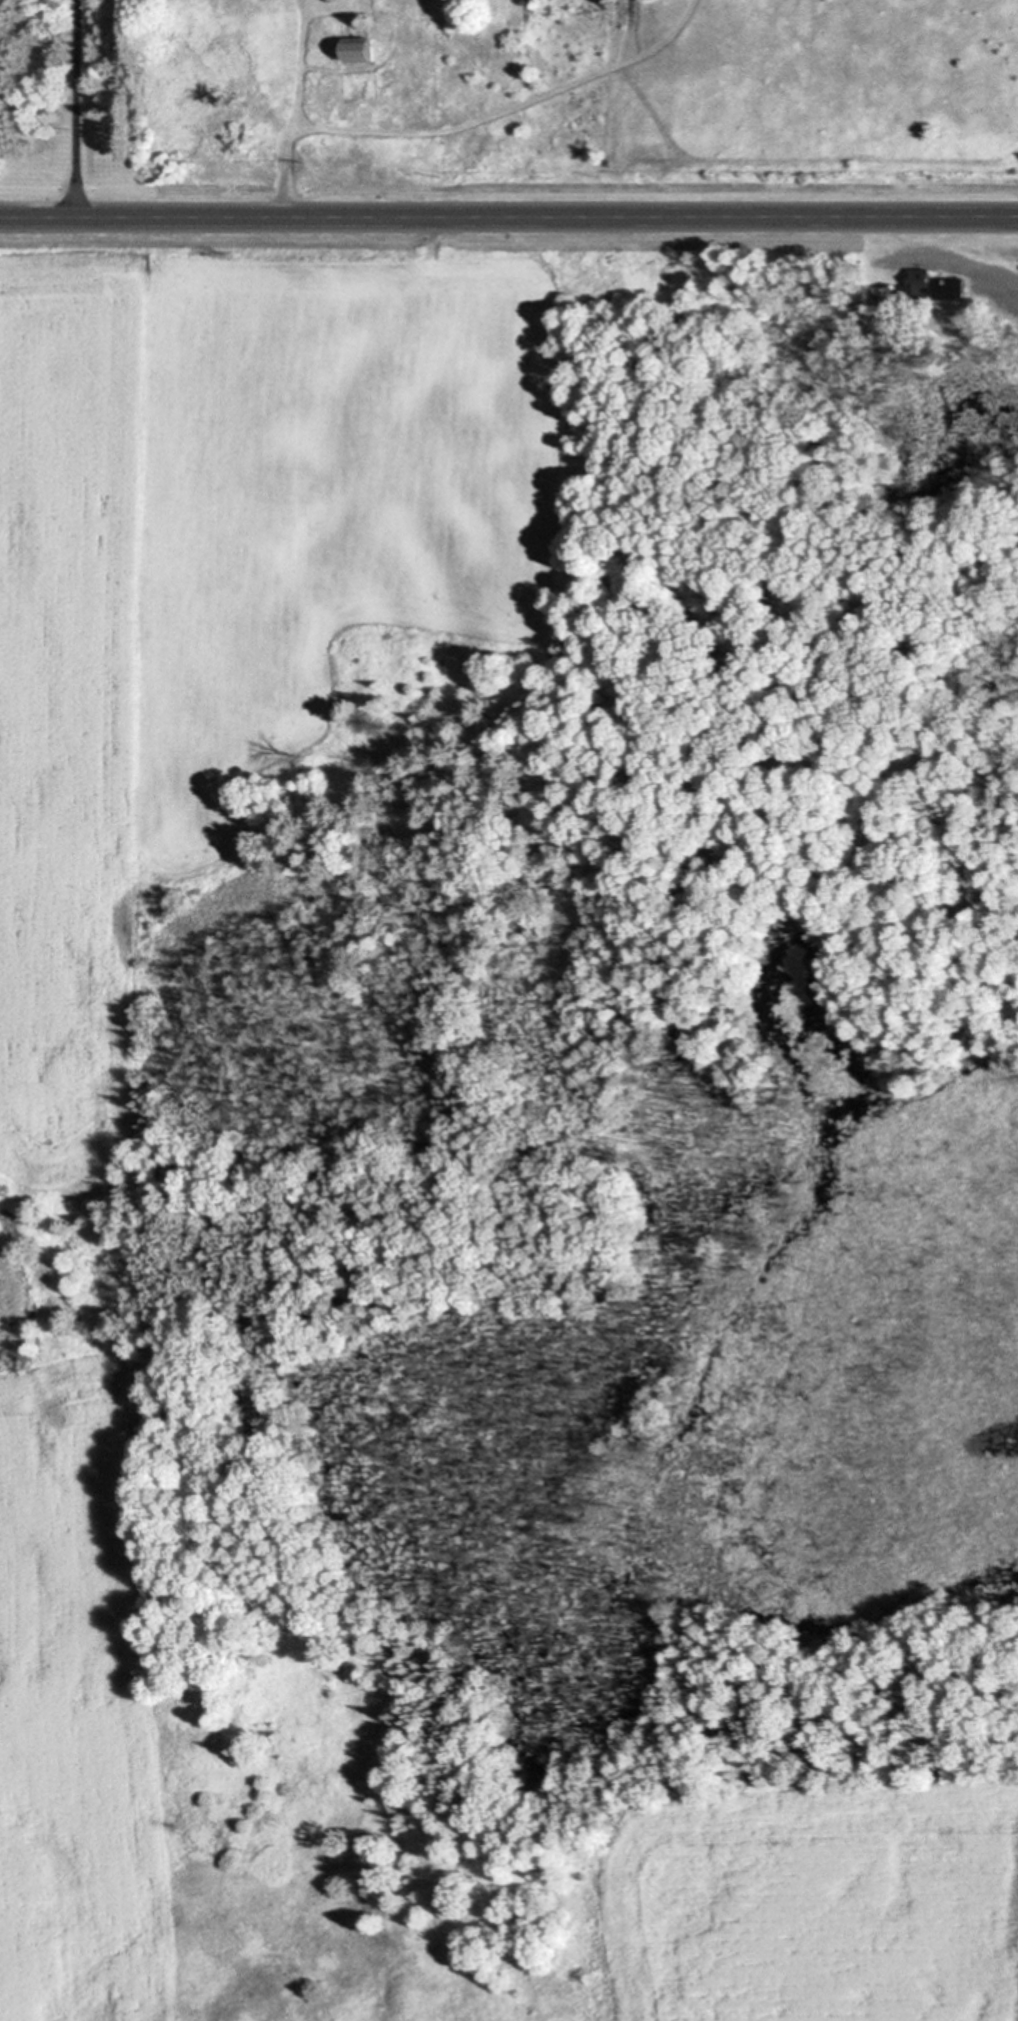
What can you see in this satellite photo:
building: (353, 52)
road: (76, 109)
road: (282, 178)
road: (508, 217)
building: (928, 288)
road: (1006, 289)

